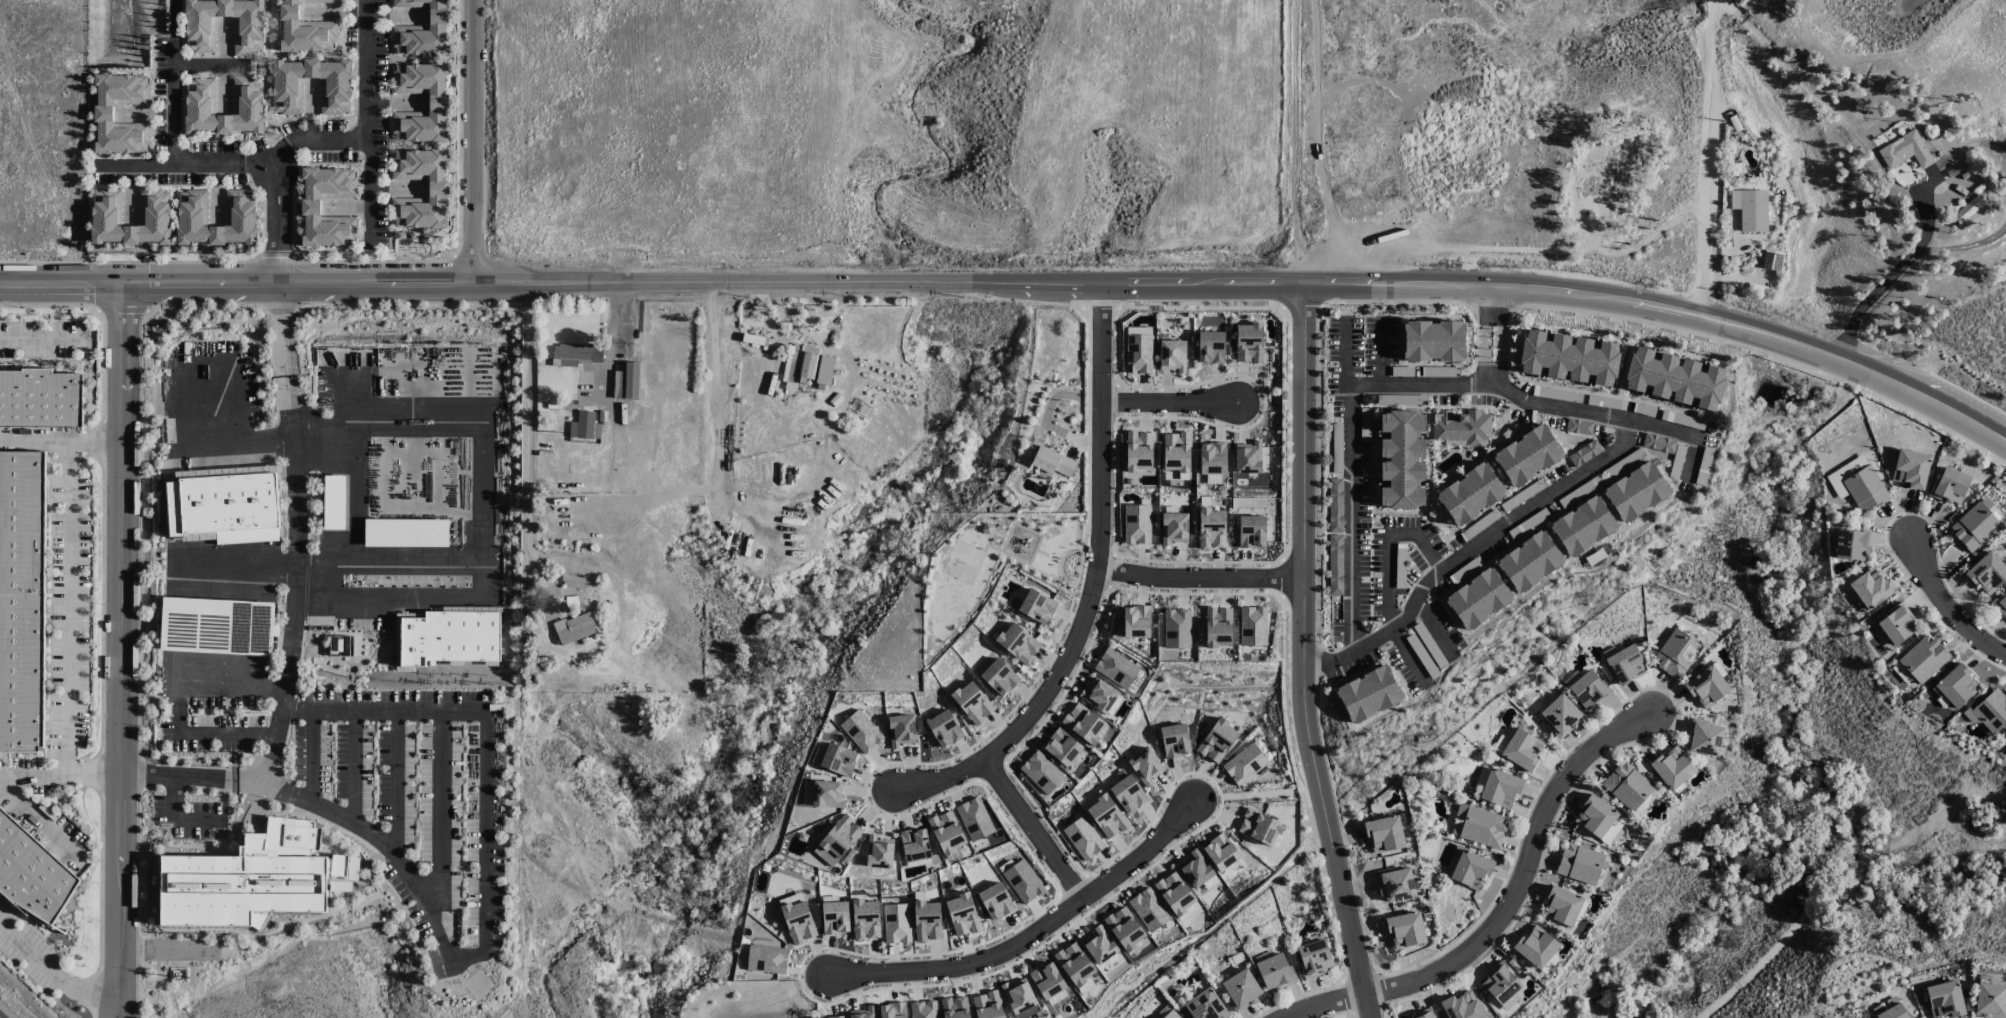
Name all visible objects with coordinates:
building: (248, 23)
building: (305, 27)
building: (424, 29)
road: (306, 53)
road: (411, 58)
road: (259, 65)
road: (267, 66)
road: (131, 70)
road: (173, 83)
building: (335, 85)
building: (439, 100)
building: (249, 105)
building: (104, 111)
road: (370, 120)
road: (389, 122)
road: (315, 137)
road: (200, 140)
road: (153, 141)
road: (473, 142)
road: (411, 144)
building: (1905, 150)
road: (1709, 160)
road: (187, 167)
building: (438, 187)
road: (262, 200)
building: (311, 206)
building: (1750, 209)
building: (155, 210)
building: (193, 210)
road: (275, 226)
road: (411, 230)
road: (360, 260)
road: (278, 261)
road: (1885, 280)
road: (1256, 282)
road: (306, 285)
road: (1493, 301)
road: (42, 339)
building: (1434, 340)
parking lot: (1394, 341)
road: (609, 342)
building: (1249, 343)
road: (1485, 344)
road: (1498, 345)
parking lot: (1364, 346)
building: (1211, 347)
road: (1383, 353)
building: (577, 354)
building: (1138, 354)
building: (1173, 355)
building: (1569, 357)
road: (282, 361)
building: (799, 364)
parking lot: (1403, 371)
parking lot: (1439, 371)
building: (824, 372)
building: (1675, 378)
road: (1492, 379)
building: (627, 382)
road: (1485, 385)
road: (1369, 386)
parking lot: (1527, 386)
road: (717, 391)
parking lot: (1335, 394)
parking lot: (1558, 394)
building: (41, 399)
road: (1167, 402)
parking lot: (1607, 403)
parking lot: (1645, 410)
road: (1947, 410)
parking lot: (1514, 412)
road: (1624, 418)
parking lot: (1683, 419)
road: (330, 425)
building: (585, 426)
building: (1463, 428)
parking lot: (1599, 430)
road: (1101, 434)
road: (61, 438)
building: (1658, 443)
road: (529, 444)
building: (1138, 451)
building: (1176, 452)
building: (1584, 453)
building: (1528, 455)
building: (1248, 457)
building: (1213, 458)
building: (1402, 460)
parking lot: (1706, 460)
parking lot: (1678, 461)
building: (1053, 462)
parking lot: (1624, 462)
building: (1911, 468)
building: (1844, 475)
building: (1950, 486)
parking lot: (1685, 487)
building: (1865, 489)
parking lot: (1581, 491)
building: (1637, 491)
road: (483, 493)
building: (1471, 494)
building: (334, 502)
building: (225, 504)
parking lot: (1510, 505)
building: (1989, 506)
road: (1308, 511)
parking lot: (1402, 522)
building: (1137, 524)
parking lot: (1529, 524)
building: (1584, 526)
building: (1974, 526)
building: (1174, 528)
road: (1353, 528)
building: (1212, 529)
building: (406, 532)
parking lot: (1369, 536)
road: (1493, 536)
building: (1335, 537)
parking lot: (1435, 539)
building: (1852, 544)
road: (1390, 548)
parking lot: (1494, 548)
parking lot: (1418, 559)
building: (1530, 561)
parking lot: (1401, 567)
road: (232, 571)
building: (1987, 572)
parking lot: (1414, 575)
road: (1201, 577)
parking lot: (1456, 577)
road: (484, 581)
building: (575, 581)
building: (1871, 587)
building: (1479, 598)
building: (22, 601)
building: (2002, 604)
road: (71, 605)
building: (1036, 607)
road: (1950, 607)
road: (289, 610)
building: (1136, 621)
parking lot: (1338, 621)
parking lot: (1448, 624)
building: (1897, 624)
building: (217, 626)
building: (1253, 626)
building: (1218, 627)
building: (575, 628)
building: (1177, 628)
road: (1436, 628)
building: (1018, 643)
building: (341, 645)
parking lot: (1430, 645)
road: (120, 652)
building: (1676, 653)
parking lot: (1423, 656)
road: (1410, 657)
building: (1922, 658)
road: (1324, 661)
building: (1624, 663)
parking lot: (1354, 665)
building: (1116, 668)
parking lot: (1405, 670)
building: (998, 678)
building: (1706, 686)
building: (1956, 686)
building: (1589, 690)
building: (1369, 694)
building: (1099, 695)
road: (178, 701)
building: (972, 702)
building: (1990, 712)
building: (1560, 715)
road: (1023, 716)
building: (1084, 723)
building: (944, 728)
building: (901, 730)
building: (861, 731)
building: (1704, 738)
building: (1175, 740)
building: (1217, 741)
building: (1062, 747)
building: (1521, 749)
road: (312, 755)
building: (838, 759)
building: (1244, 764)
road: (352, 765)
building: (1146, 766)
building: (1672, 768)
road: (58, 771)
building: (1041, 772)
road: (397, 780)
building: (1627, 785)
building: (1500, 788)
building: (1128, 794)
road: (438, 808)
building: (1106, 814)
building: (1595, 816)
road: (176, 819)
building: (974, 819)
road: (39, 822)
road: (1035, 827)
building: (1260, 827)
building: (1483, 827)
building: (1613, 828)
building: (946, 832)
building: (1384, 833)
building: (840, 837)
building: (1083, 838)
building: (915, 845)
building: (879, 852)
building: (1221, 852)
building: (1580, 863)
building: (1471, 870)
building: (1198, 871)
building: (31, 873)
building: (247, 878)
building: (1023, 881)
building: (1396, 884)
building: (1177, 896)
building: (995, 901)
building: (1561, 906)
building: (1149, 909)
road: (1508, 910)
building: (962, 915)
building: (835, 917)
building: (259, 919)
building: (797, 919)
building: (866, 919)
building: (927, 920)
building: (896, 923)
building: (1124, 927)
building: (1405, 929)
road: (1036, 932)
building: (1536, 947)
road: (478, 950)
building: (1105, 952)
building: (1314, 958)
building: (766, 959)
building: (1549, 964)
building: (1076, 967)
road: (53, 972)
building: (1275, 972)
building: (1048, 980)
building: (1501, 986)
building: (1241, 989)
building: (1020, 998)
building: (1945, 999)
building: (1990, 1000)
building: (988, 1005)
building: (1205, 1005)
building: (1462, 1006)
building: (955, 1007)
building: (924, 1009)
building: (893, 1010)
building: (1169, 1014)
building: (1422, 1014)
building: (836, 1017)

